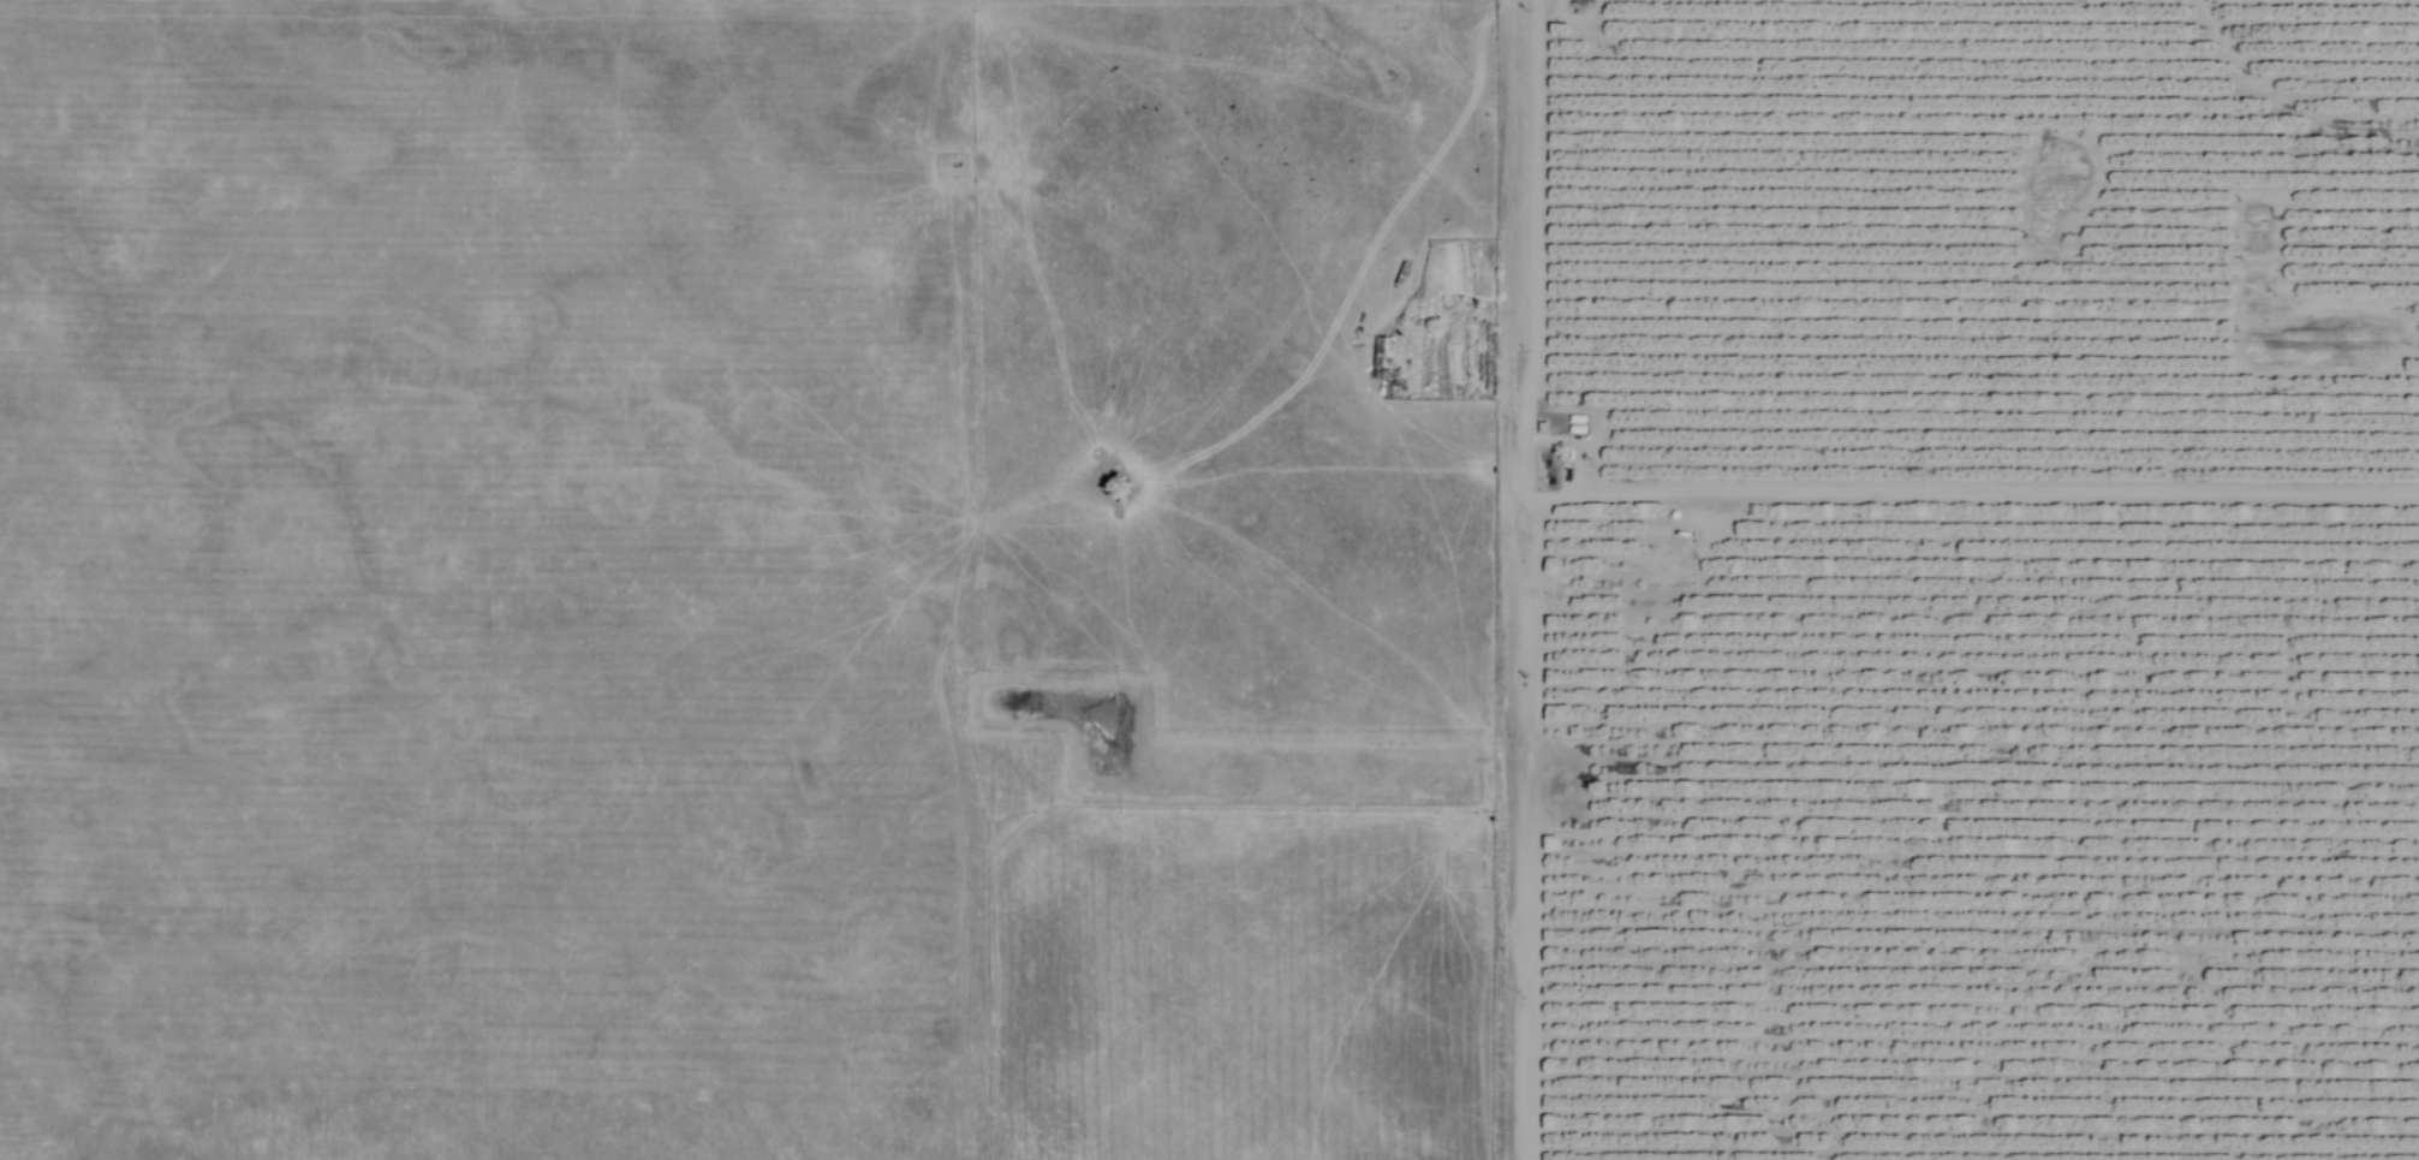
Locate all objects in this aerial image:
building: (1378, 358)
crop: (1209, 579)
road: (1525, 579)

